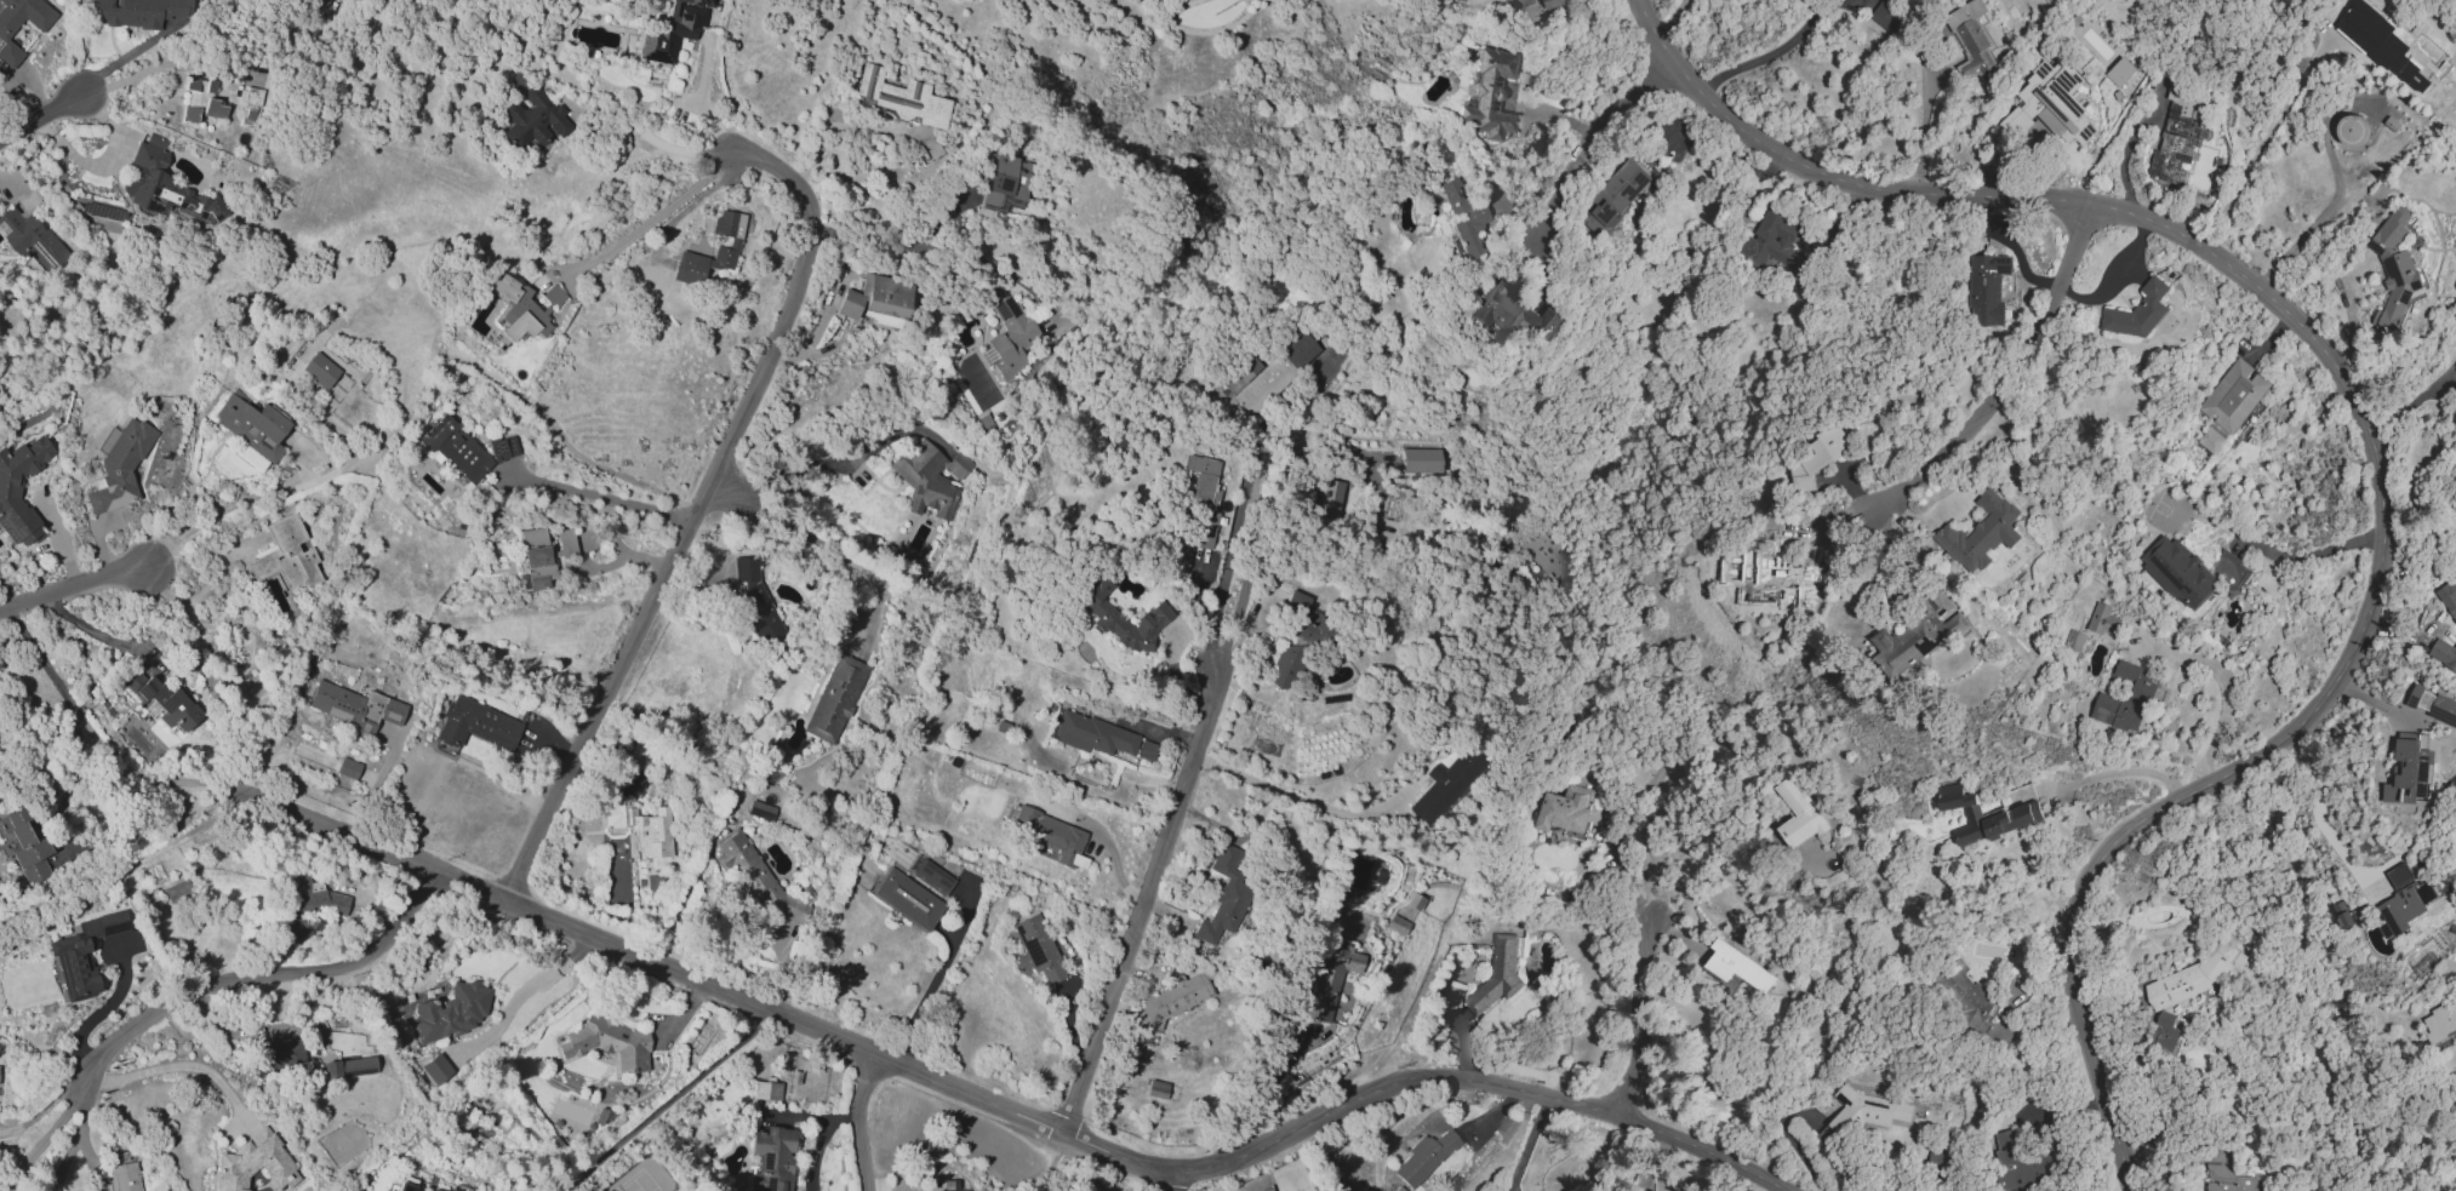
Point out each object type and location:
building: (1501, 0)
building: (318, 4)
building: (1553, 4)
building: (137, 12)
building: (1887, 15)
building: (669, 30)
building: (4, 35)
building: (1971, 42)
road: (128, 52)
road: (1771, 53)
road: (152, 68)
building: (2119, 71)
building: (1490, 93)
building: (902, 97)
building: (200, 99)
building: (2050, 105)
building: (252, 107)
road: (42, 115)
building: (533, 119)
road: (1923, 126)
building: (2351, 130)
building: (2175, 134)
road: (650, 137)
road: (1594, 137)
road: (2124, 155)
road: (105, 160)
building: (1006, 182)
building: (166, 187)
road: (652, 218)
building: (29, 230)
road: (892, 245)
building: (732, 246)
road: (360, 248)
building: (1778, 248)
building: (2395, 271)
road: (2114, 273)
building: (1986, 288)
building: (875, 297)
building: (524, 308)
building: (1512, 311)
building: (2137, 313)
building: (1010, 338)
building: (1245, 368)
building: (319, 370)
building: (1273, 373)
road: (2014, 382)
building: (2231, 403)
building: (251, 425)
road: (2370, 433)
building: (503, 447)
building: (456, 450)
road: (303, 454)
building: (1815, 458)
building: (1418, 459)
building: (958, 465)
building: (120, 466)
building: (925, 480)
road: (600, 497)
building: (1331, 500)
building: (1200, 502)
road: (1239, 502)
road: (234, 504)
building: (13, 508)
road: (695, 511)
building: (1981, 533)
road: (598, 534)
building: (532, 536)
road: (58, 538)
building: (1540, 549)
building: (286, 555)
road: (2311, 555)
road: (844, 557)
building: (546, 560)
building: (2191, 572)
building: (1783, 578)
road: (73, 584)
building: (2448, 597)
building: (755, 601)
building: (1097, 606)
road: (1200, 613)
building: (1296, 617)
building: (2103, 620)
road: (93, 632)
building: (1918, 635)
building: (2073, 641)
building: (2443, 654)
building: (1286, 666)
road: (2226, 689)
building: (835, 698)
building: (2126, 698)
building: (161, 700)
building: (2432, 705)
building: (355, 706)
building: (476, 725)
building: (1090, 734)
road: (1686, 737)
road: (103, 741)
building: (1146, 750)
building: (634, 760)
building: (347, 768)
building: (2410, 771)
road: (2127, 772)
building: (1445, 784)
road: (1304, 801)
building: (759, 809)
building: (1569, 809)
building: (1798, 815)
building: (2016, 815)
road: (2317, 815)
building: (641, 826)
building: (1050, 835)
road: (1103, 837)
building: (25, 846)
road: (125, 859)
building: (753, 876)
building: (933, 877)
building: (176, 892)
building: (1224, 895)
building: (906, 899)
road: (1143, 900)
building: (2404, 901)
building: (307, 906)
building: (1397, 924)
building: (1038, 949)
building: (82, 954)
building: (1735, 968)
road: (255, 973)
building: (1496, 975)
building: (1330, 979)
road: (935, 980)
building: (2188, 980)
road: (525, 990)
building: (1966, 994)
building: (1172, 998)
building: (450, 1012)
road: (1640, 1018)
building: (2440, 1021)
building: (2164, 1032)
building: (607, 1043)
building: (280, 1055)
road: (177, 1065)
building: (348, 1067)
building: (436, 1069)
road: (1269, 1087)
building: (1156, 1089)
building: (765, 1090)
road: (666, 1101)
road: (1011, 1107)
building: (1863, 1113)
road: (857, 1121)
road: (76, 1138)
road: (42, 1140)
road: (822, 1141)
road: (1527, 1144)
building: (1423, 1157)
building: (772, 1158)
road: (1050, 1159)
building: (2022, 1162)
building: (253, 1163)
building: (120, 1178)
road: (470, 1180)
building: (2229, 1180)
road: (1169, 1181)
building: (405, 1184)
building: (952, 1186)
building: (433, 1190)
building: (449, 1190)
building: (1650, 1190)

